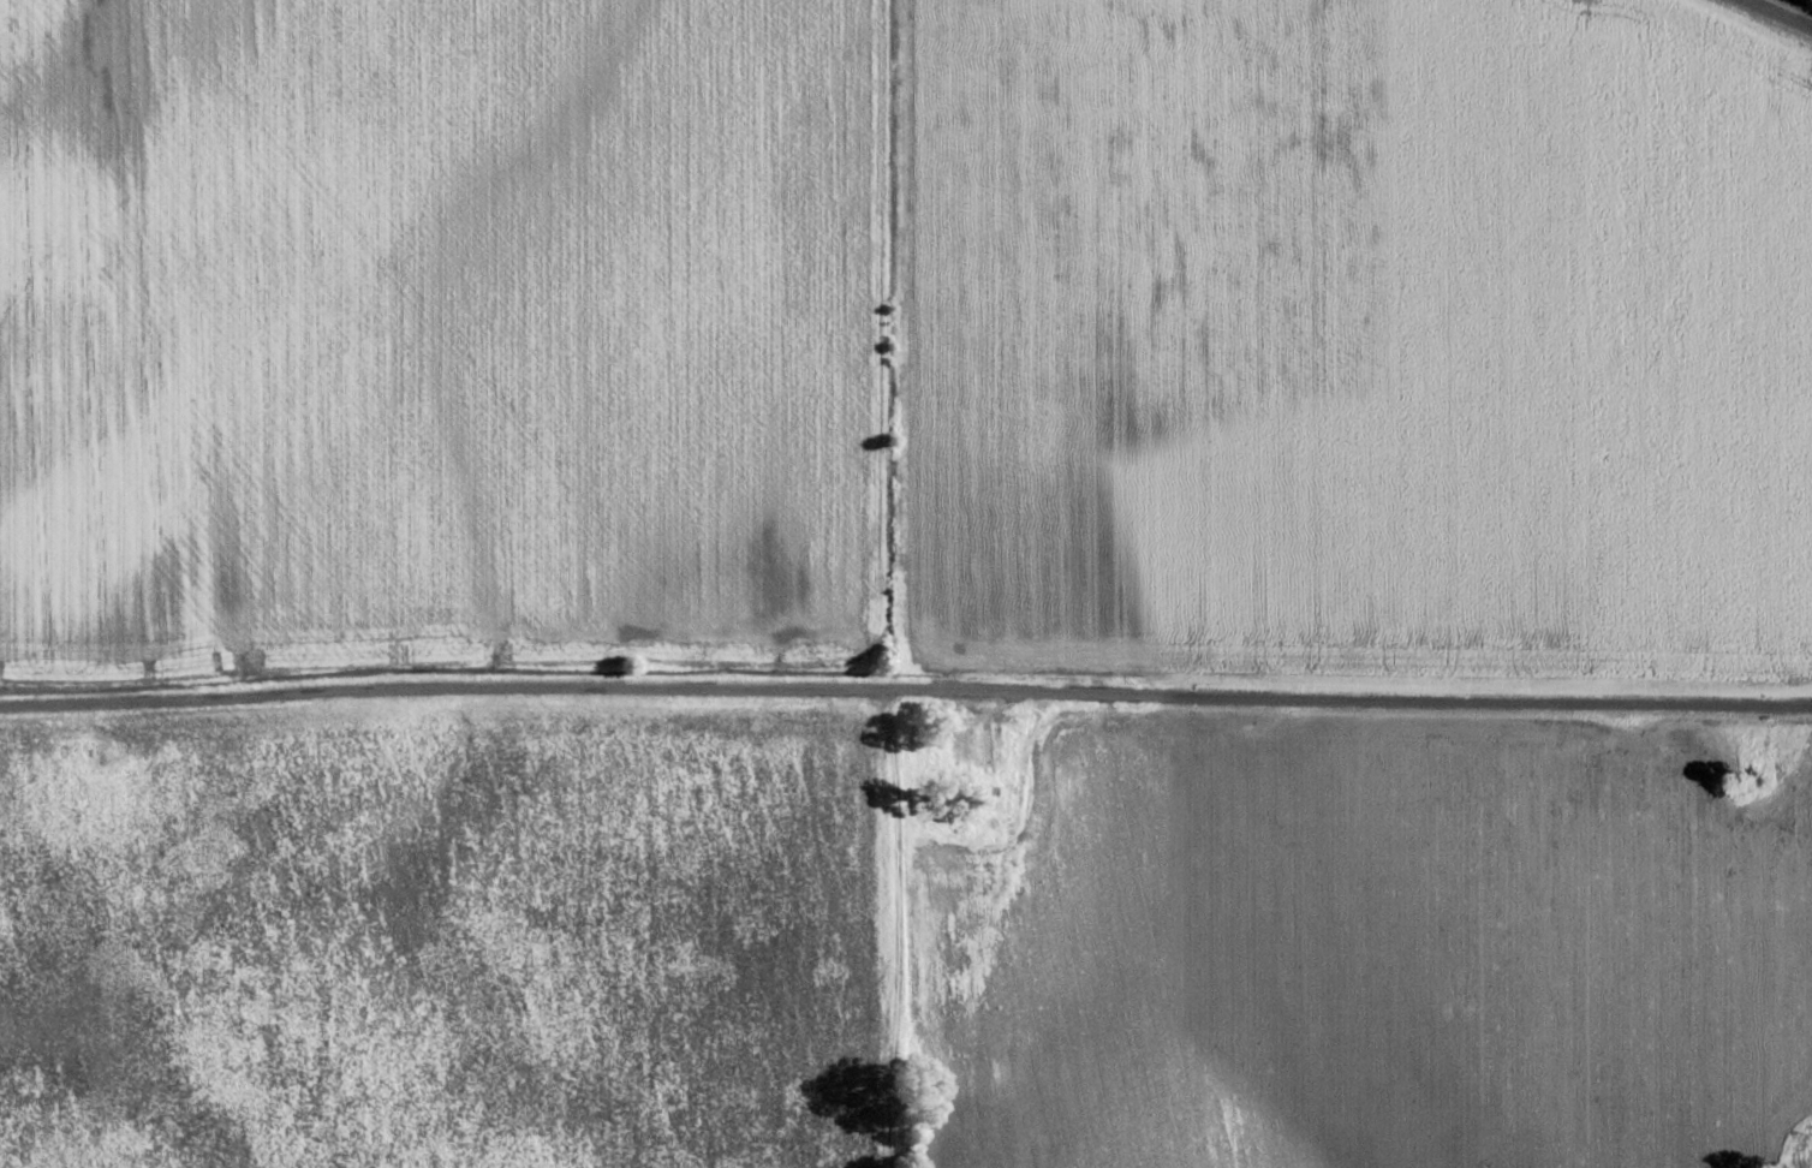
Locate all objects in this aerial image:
road: (1786, 11)
road: (906, 722)
building: (985, 750)
building: (1811, 1163)

